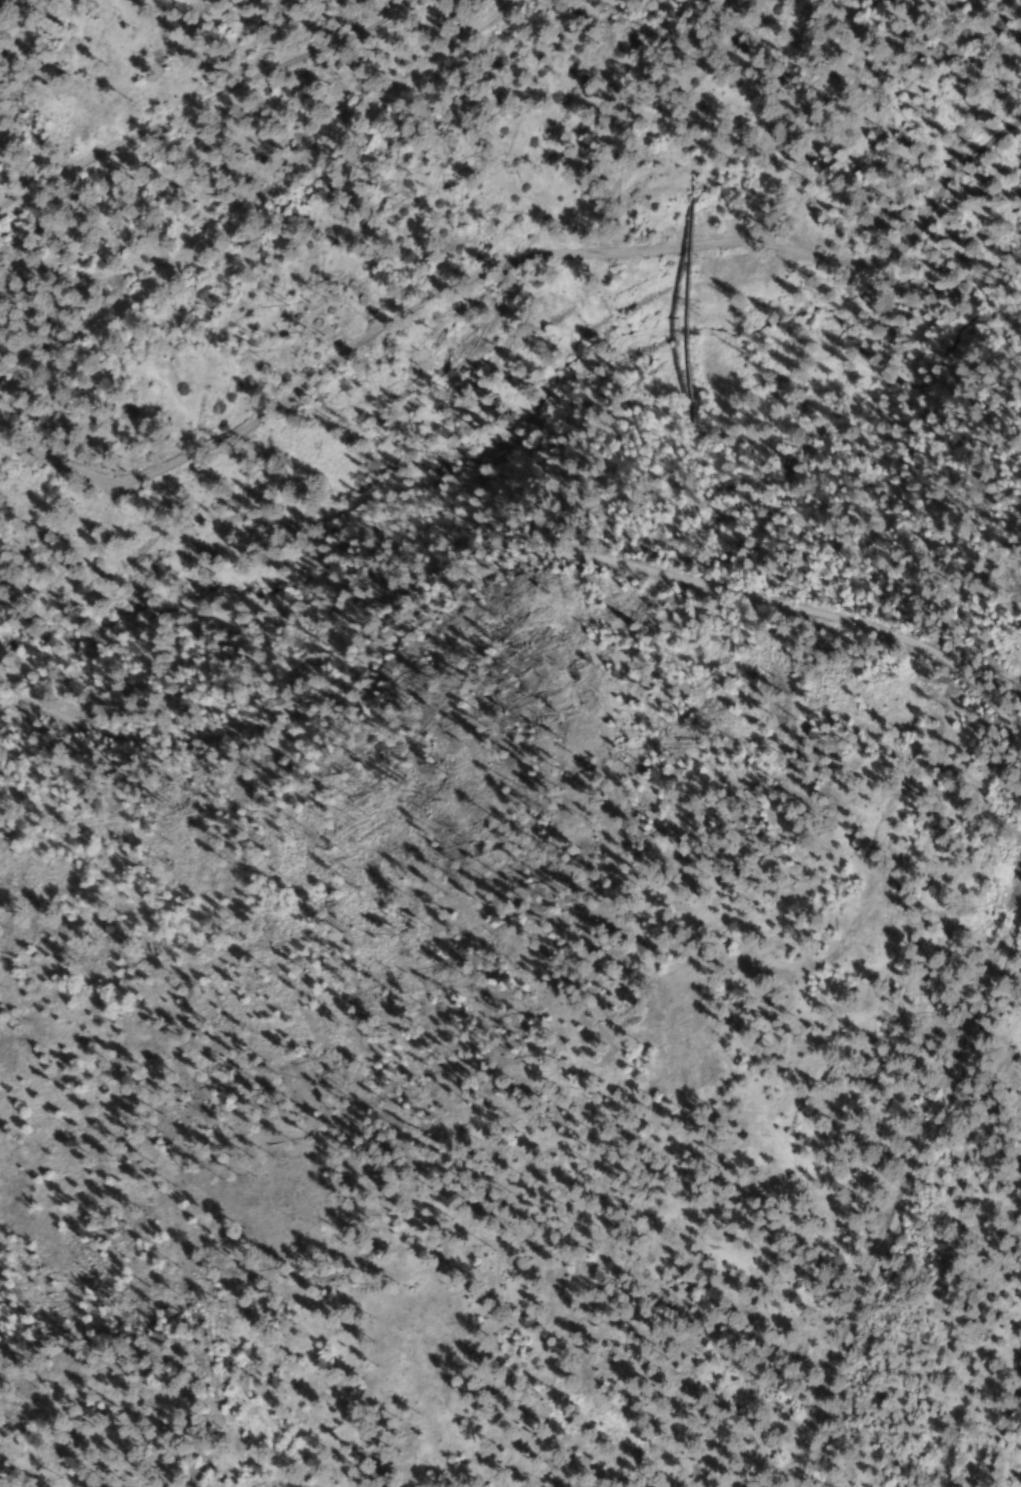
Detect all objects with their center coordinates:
road: (254, 201)
road: (511, 258)
road: (504, 558)
road: (904, 1190)

